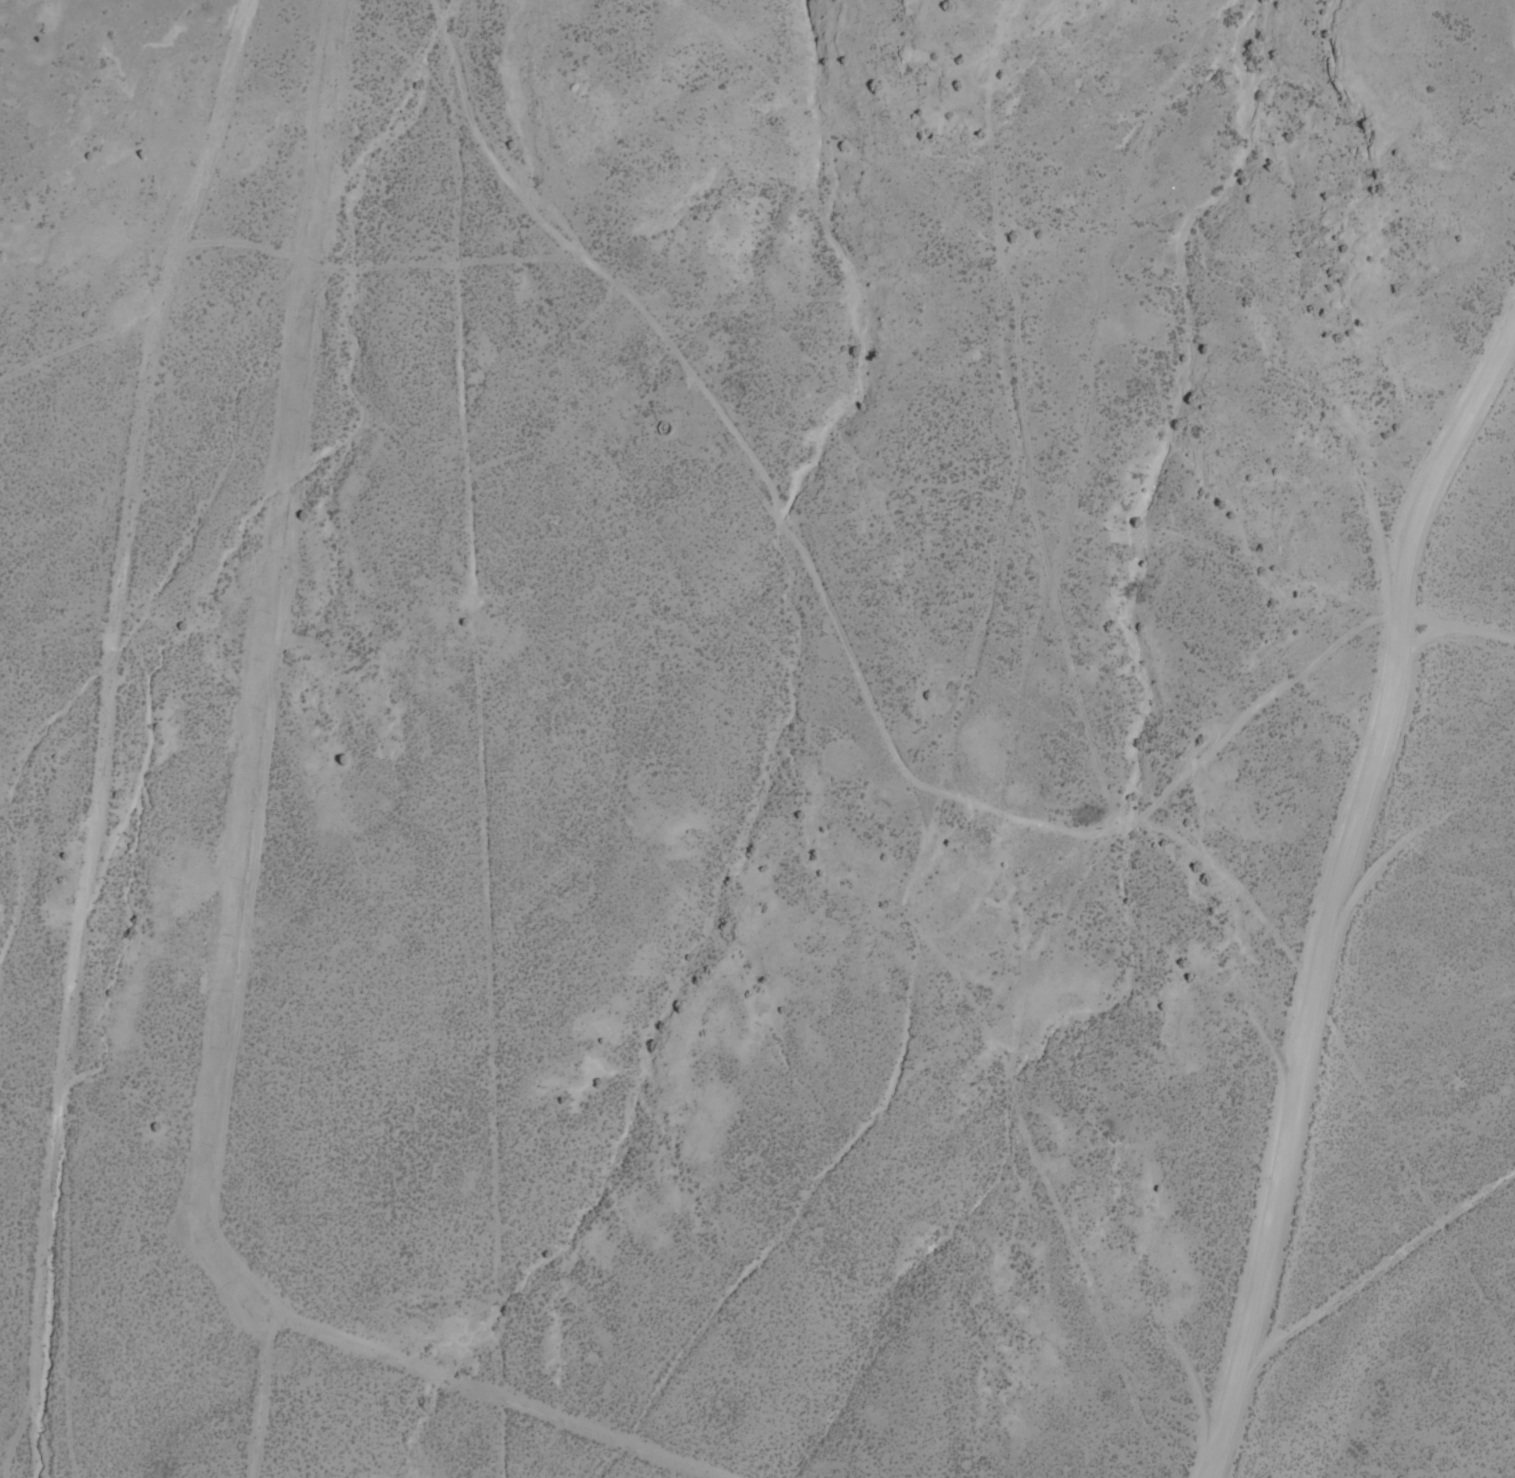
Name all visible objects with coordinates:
road: (666, 346)
road: (1324, 650)
road: (86, 692)
road: (919, 712)
road: (1339, 896)
road: (1380, 1256)

